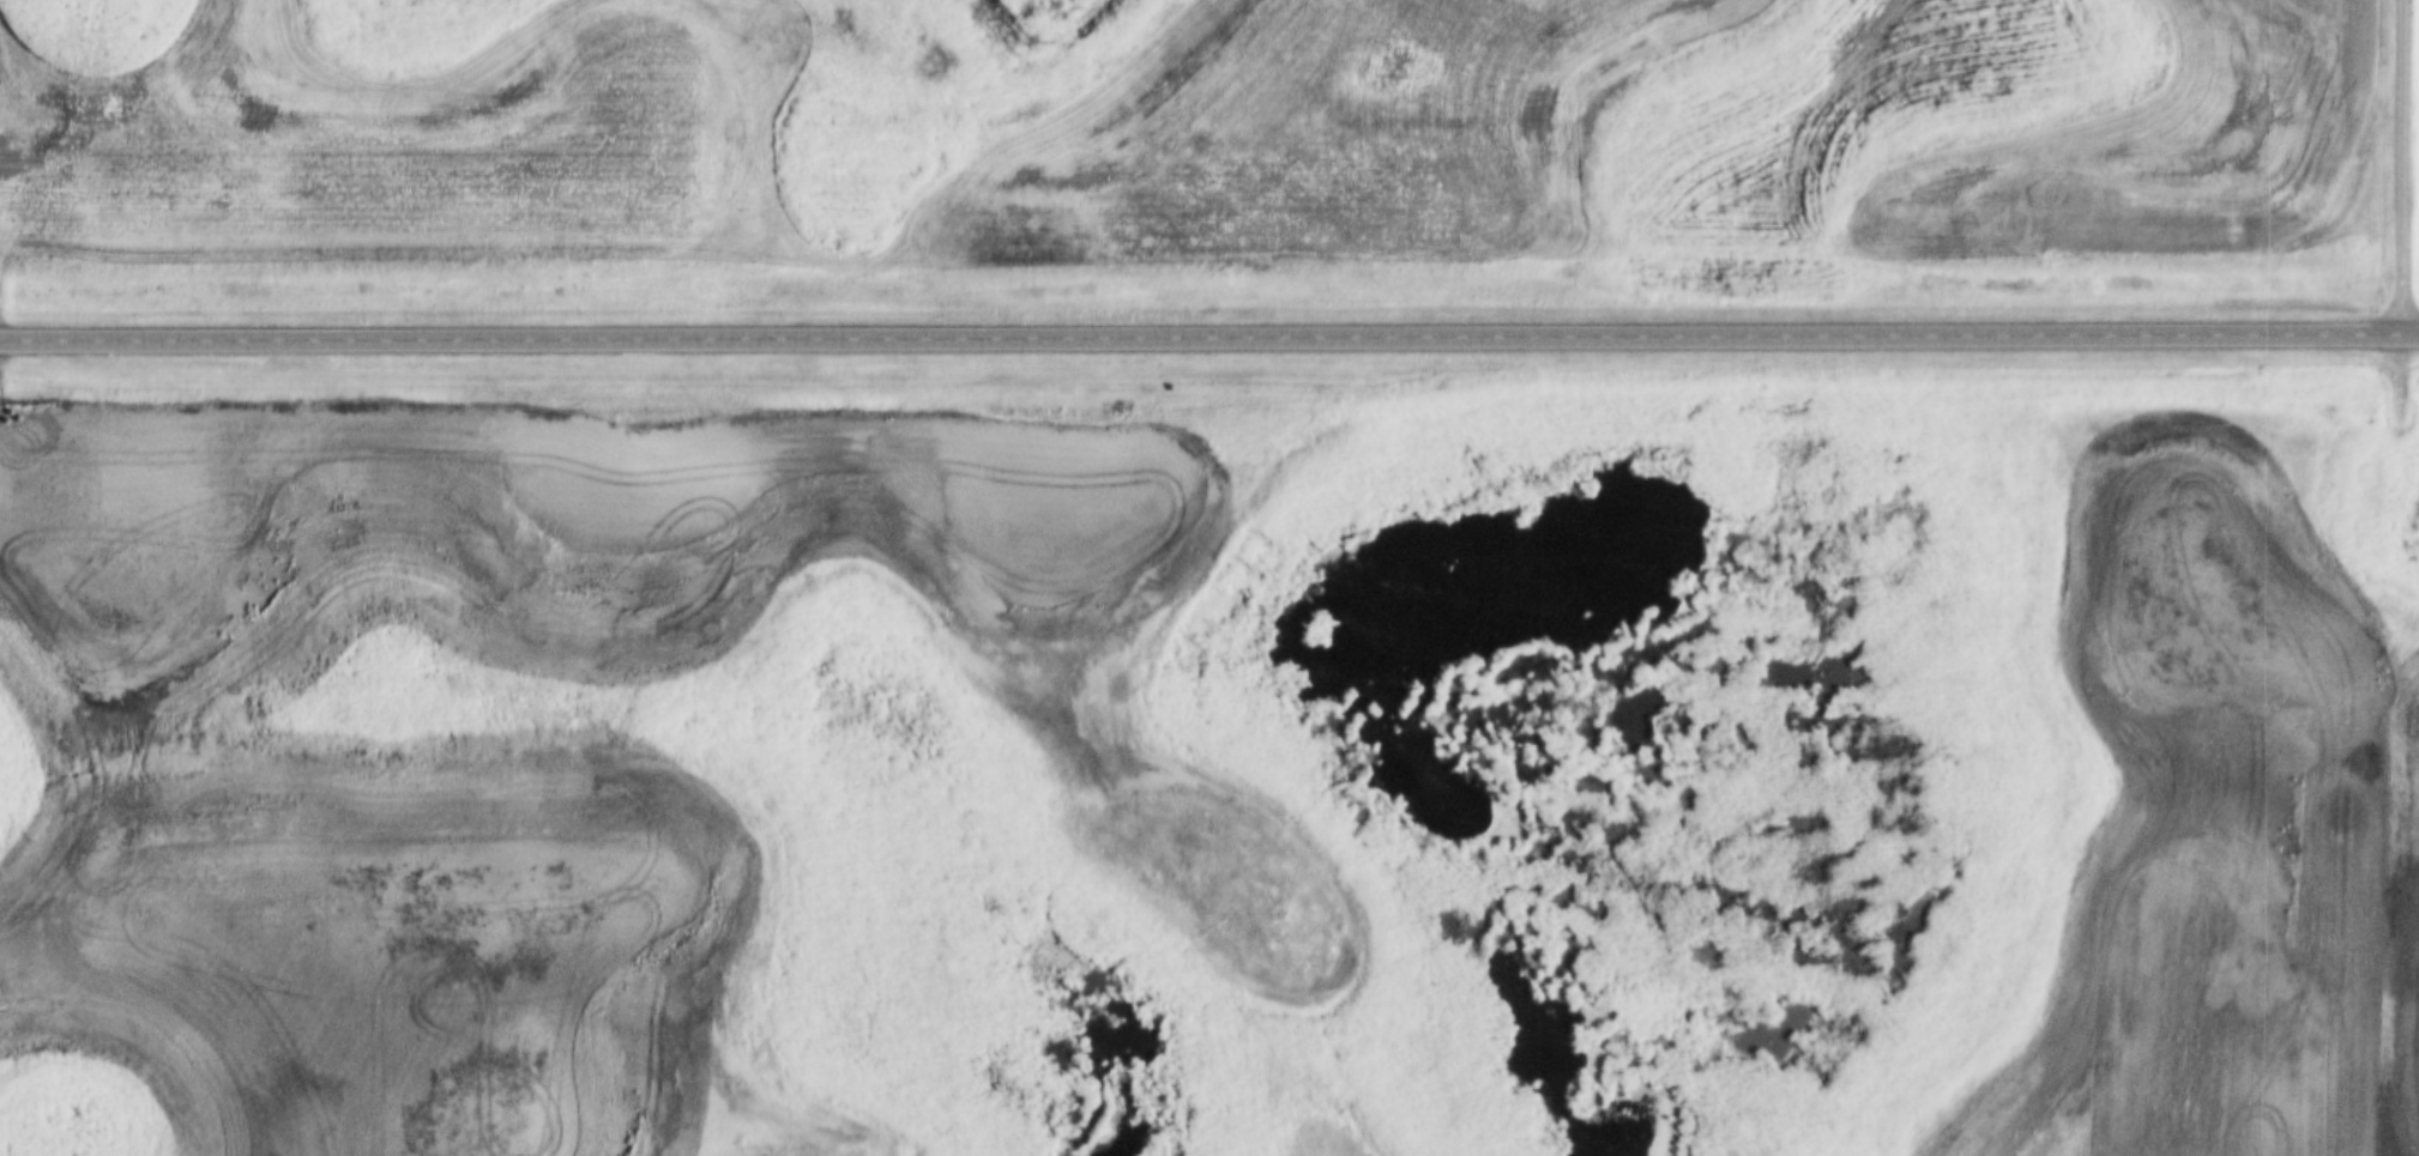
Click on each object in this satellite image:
road: (2405, 164)
road: (1208, 331)

